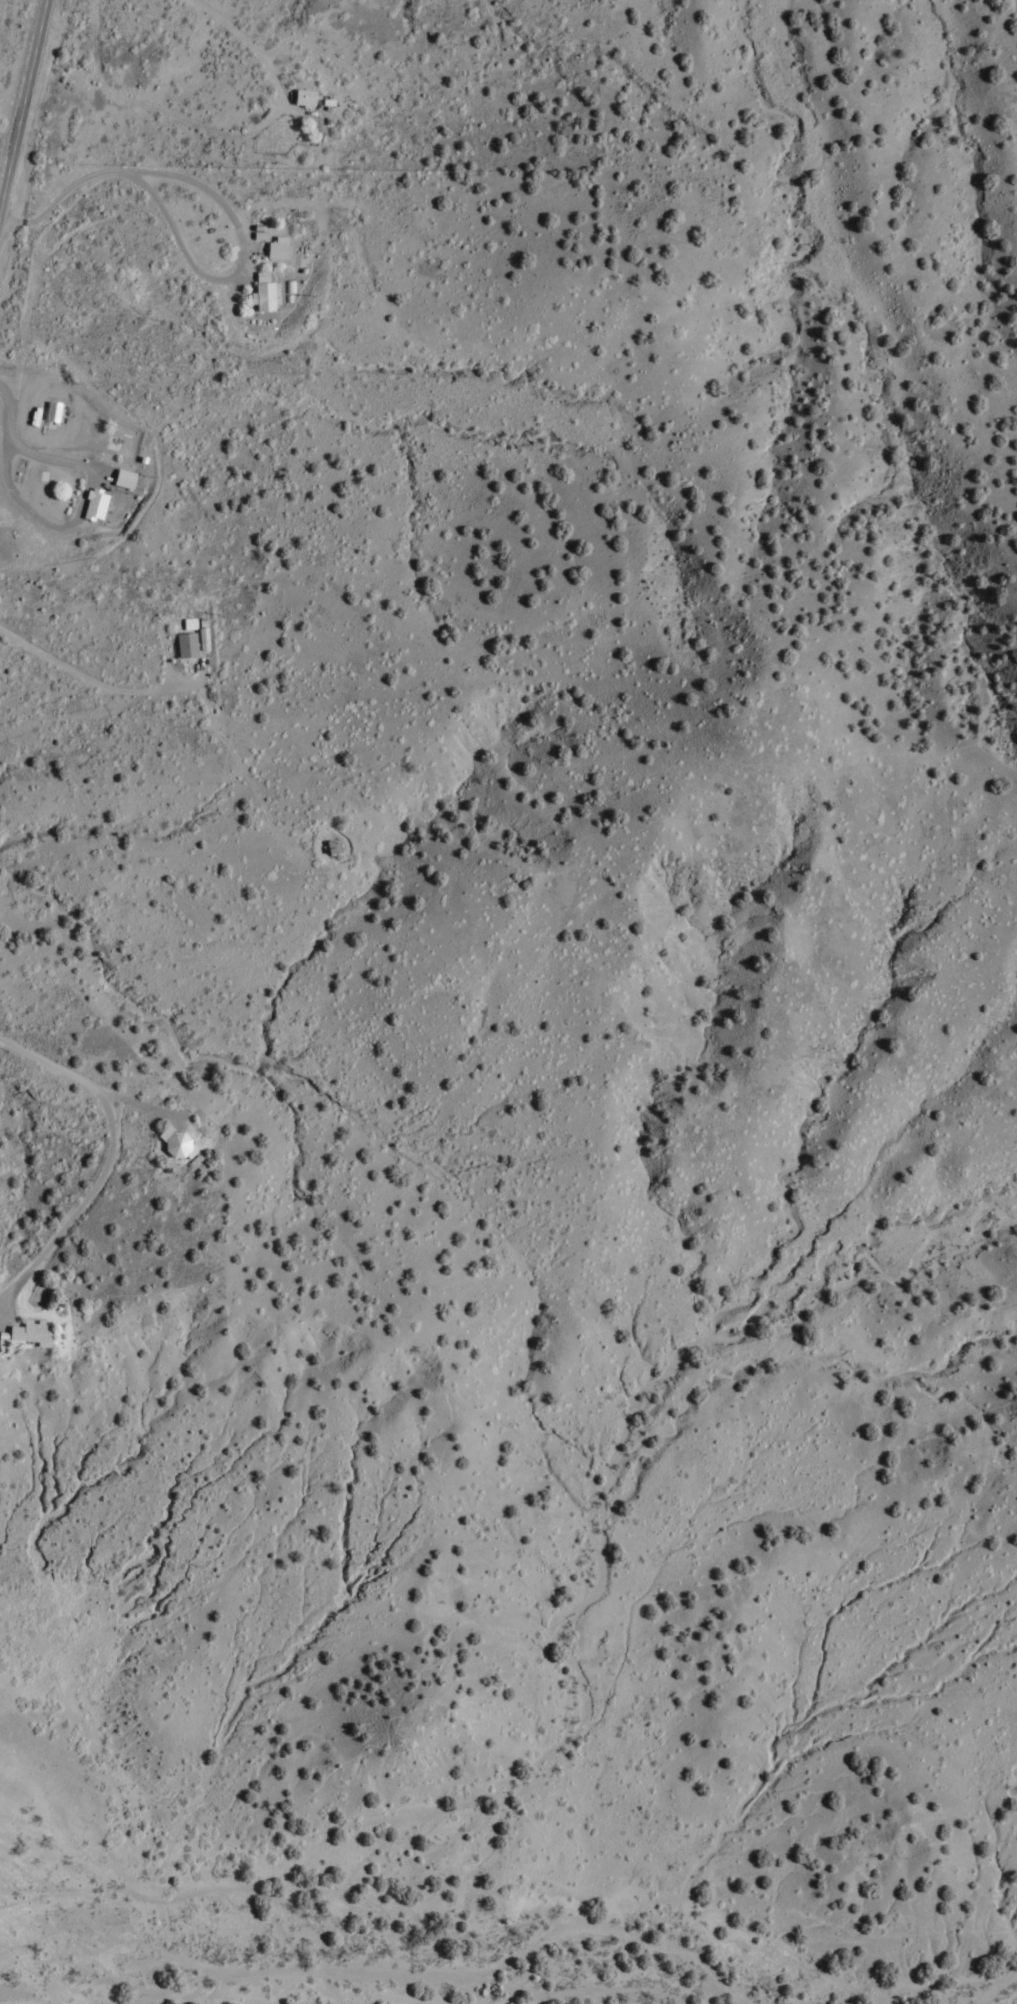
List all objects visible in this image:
building: (303, 98)
road: (24, 118)
building: (276, 249)
building: (263, 294)
building: (51, 412)
building: (123, 479)
building: (93, 505)
building: (185, 645)
building: (172, 1141)
building: (30, 1332)

